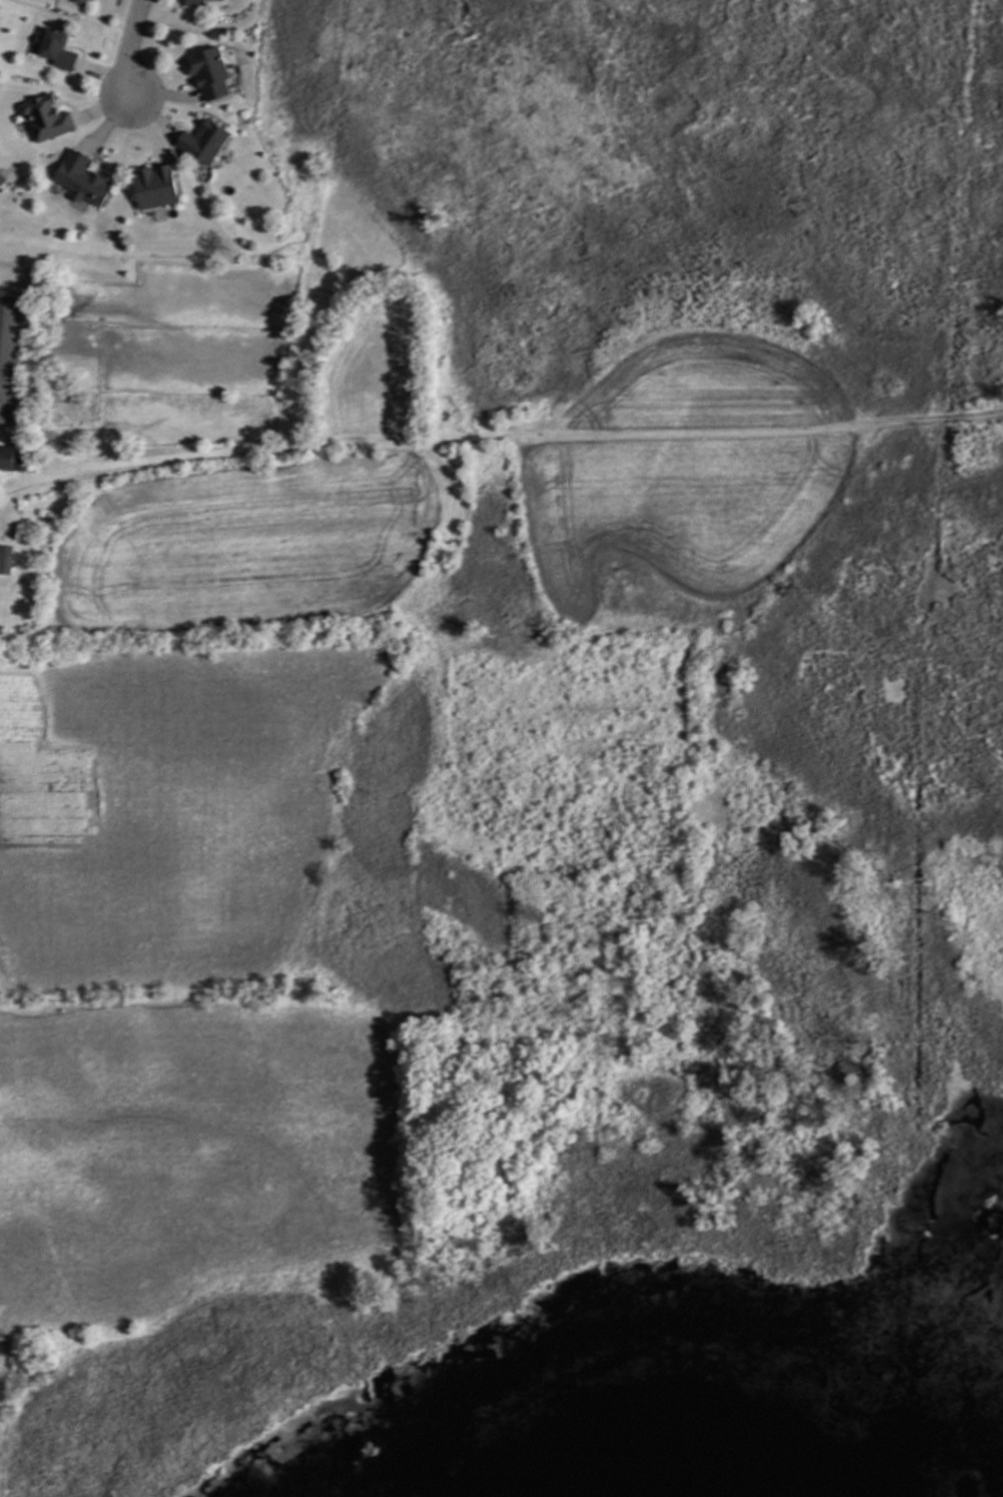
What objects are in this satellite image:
building: (217, 0)
building: (79, 1)
building: (194, 3)
road: (130, 49)
building: (54, 50)
building: (210, 73)
building: (45, 118)
building: (204, 142)
building: (2, 180)
building: (81, 180)
building: (155, 187)
building: (11, 352)
road: (499, 433)
building: (7, 459)
crop: (684, 479)
crop: (246, 543)
building: (6, 560)
crop: (169, 814)
crop: (184, 1159)

